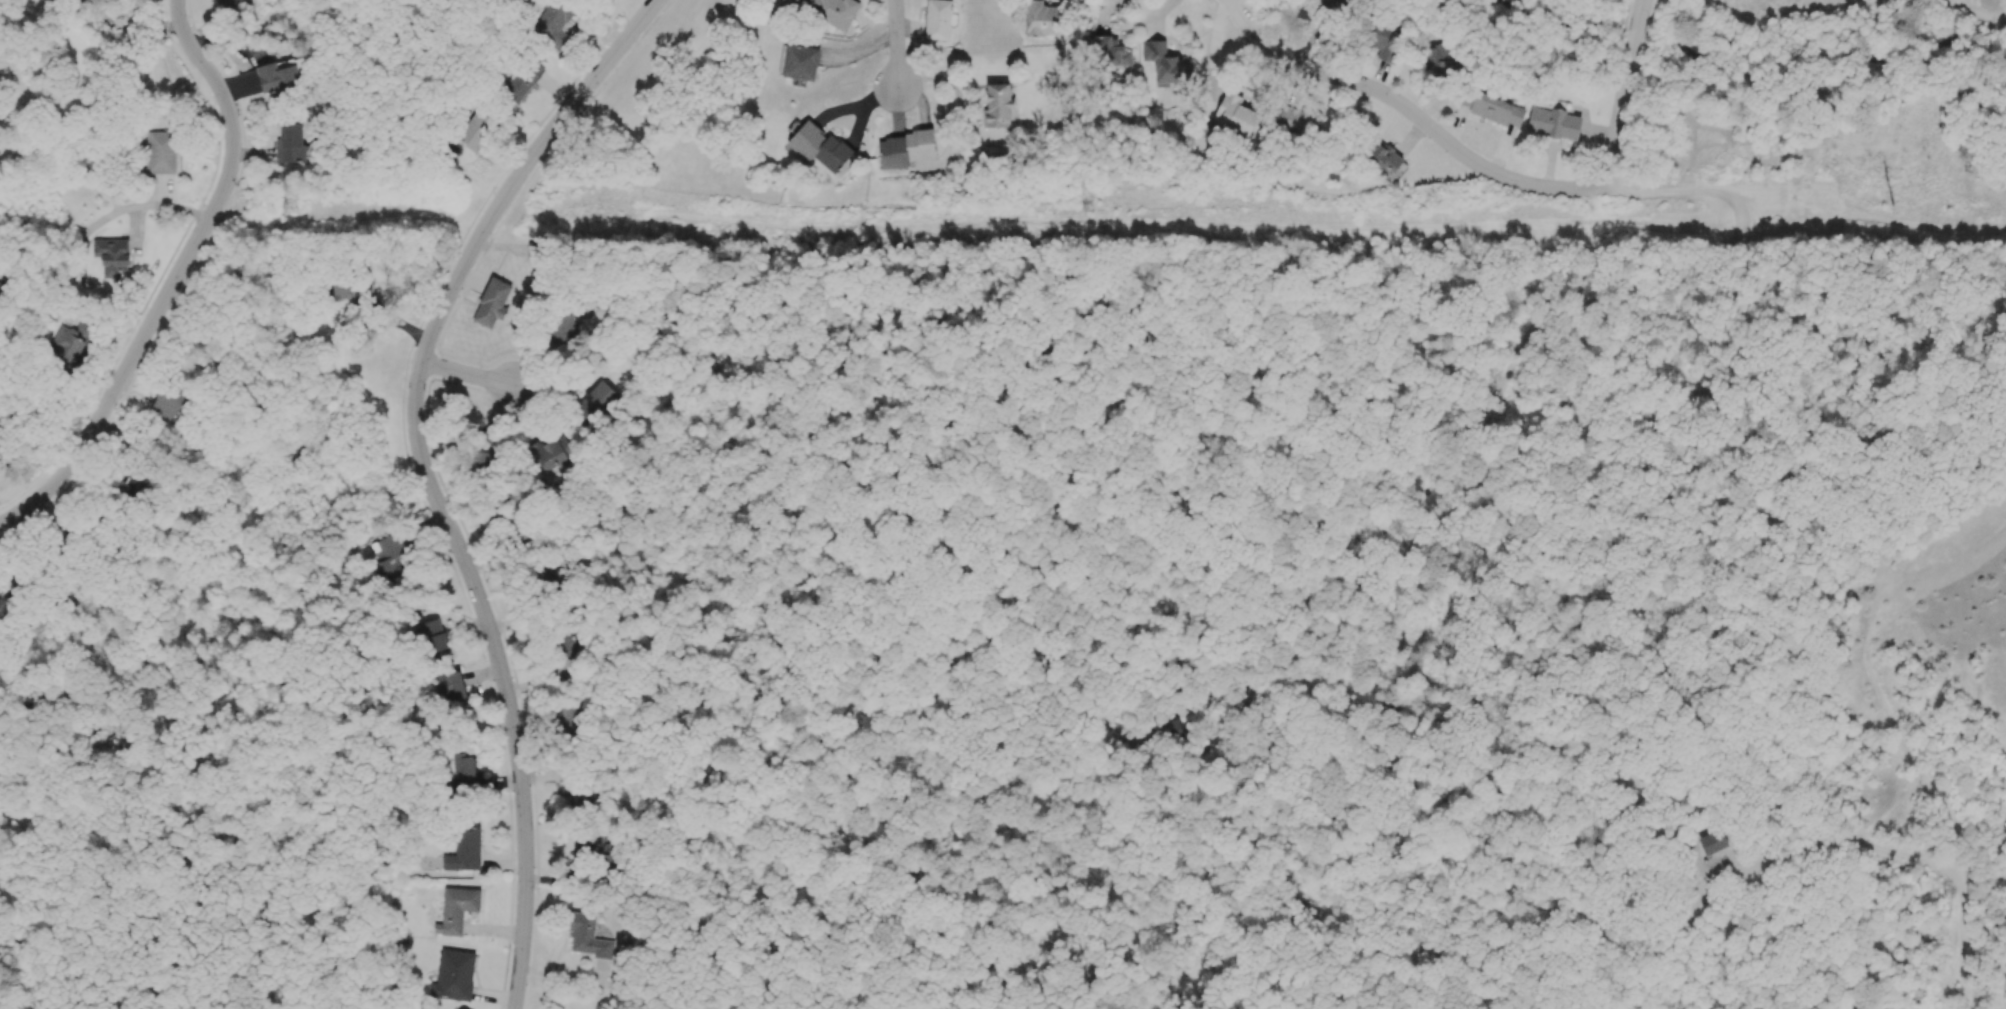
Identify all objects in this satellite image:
building: (228, 7)
building: (820, 10)
building: (1040, 18)
building: (938, 19)
building: (552, 23)
building: (1384, 40)
road: (897, 44)
building: (1105, 51)
building: (1439, 59)
building: (798, 63)
building: (1167, 64)
building: (277, 78)
building: (522, 79)
road: (1624, 93)
road: (117, 101)
building: (998, 105)
road: (1408, 109)
building: (1496, 110)
building: (1235, 114)
building: (1294, 117)
building: (1554, 123)
building: (476, 128)
building: (290, 143)
building: (820, 148)
building: (905, 149)
building: (161, 152)
building: (1382, 155)
road: (1677, 192)
power tower: (284, 204)
power tower: (1975, 204)
power tower: (1081, 205)
road: (75, 240)
building: (112, 256)
road: (173, 278)
building: (341, 288)
building: (491, 306)
building: (563, 326)
building: (66, 345)
road: (467, 374)
building: (596, 401)
building: (167, 405)
building: (2, 422)
building: (553, 450)
road: (426, 475)
building: (128, 486)
building: (433, 639)
building: (449, 688)
building: (463, 772)
building: (464, 851)
building: (605, 853)
building: (458, 908)
building: (587, 936)
building: (454, 976)

